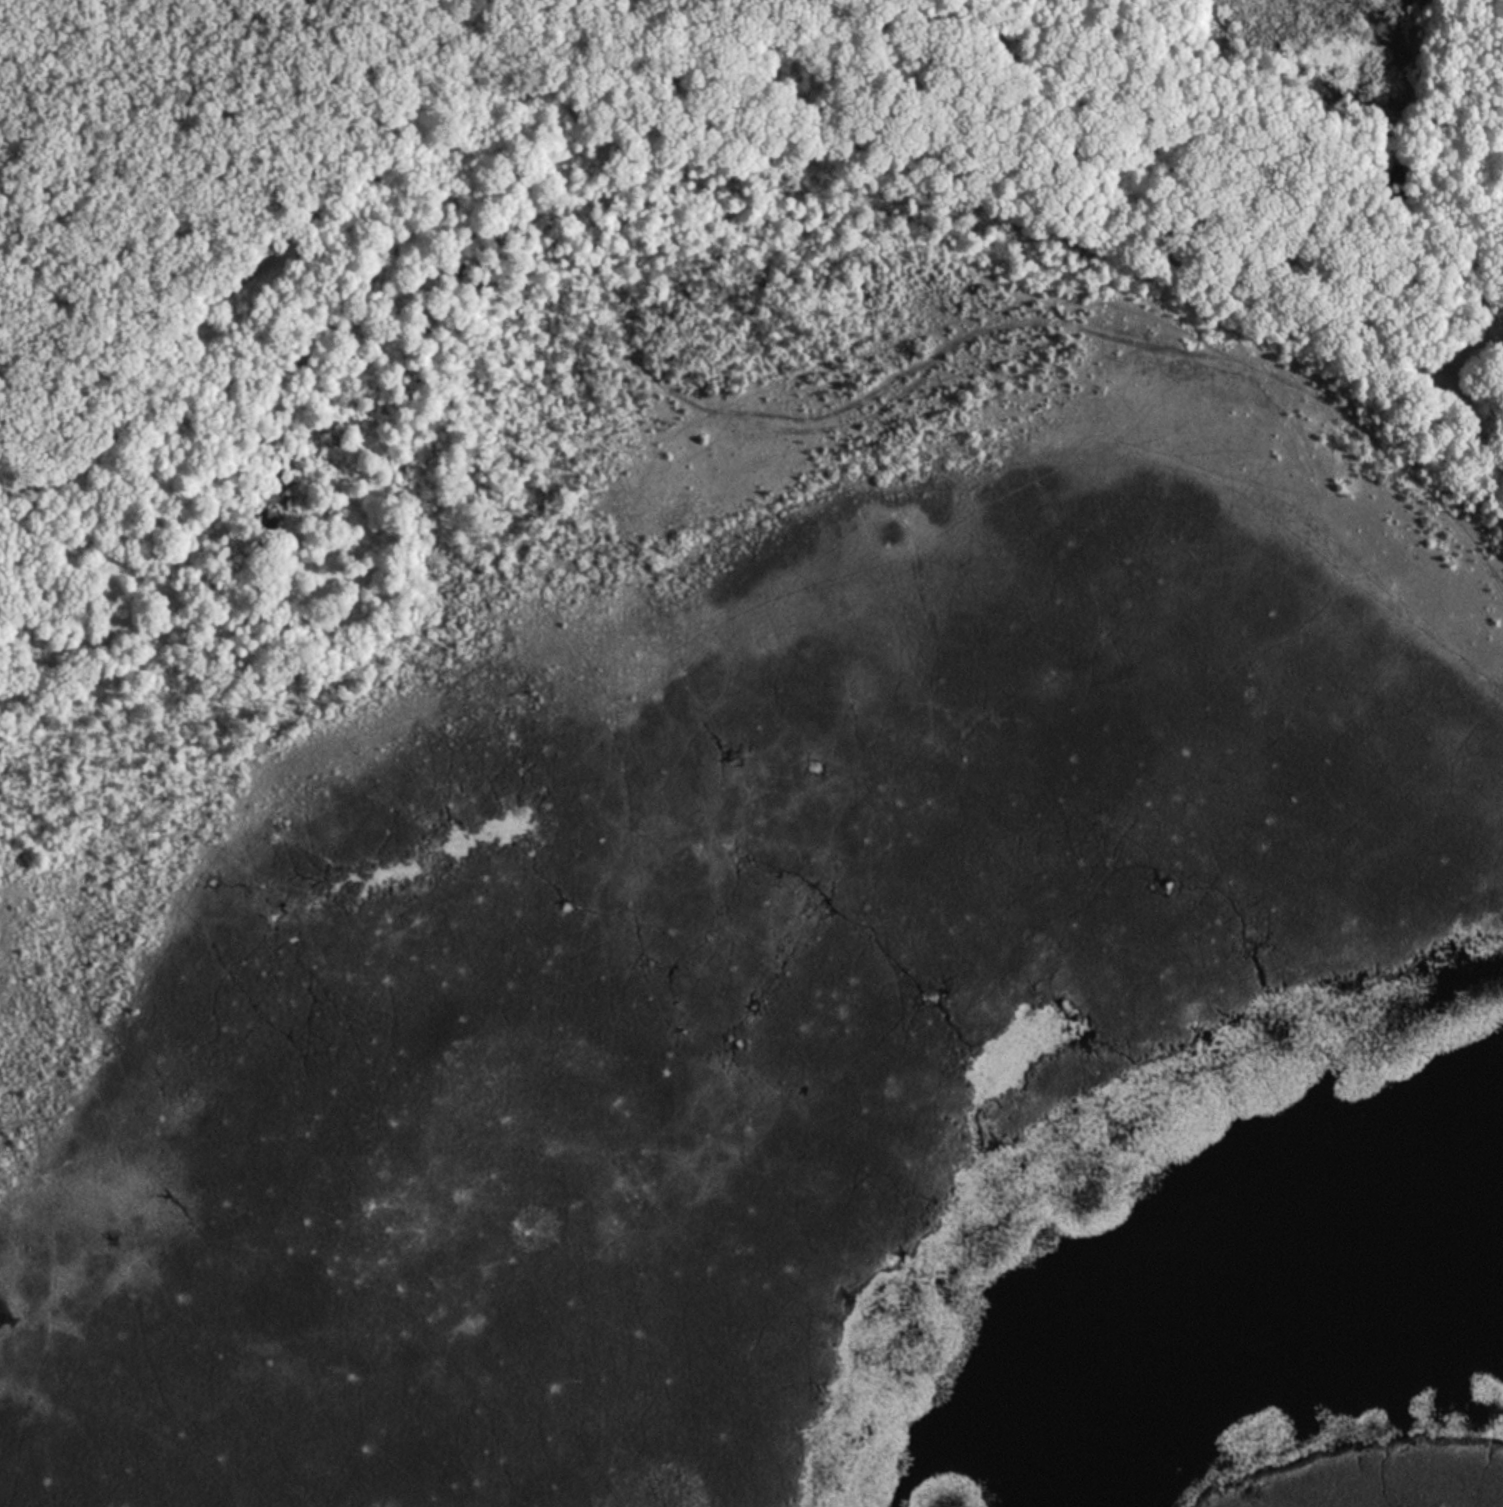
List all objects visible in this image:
quarry: (1334, 36)
road: (1206, 170)

